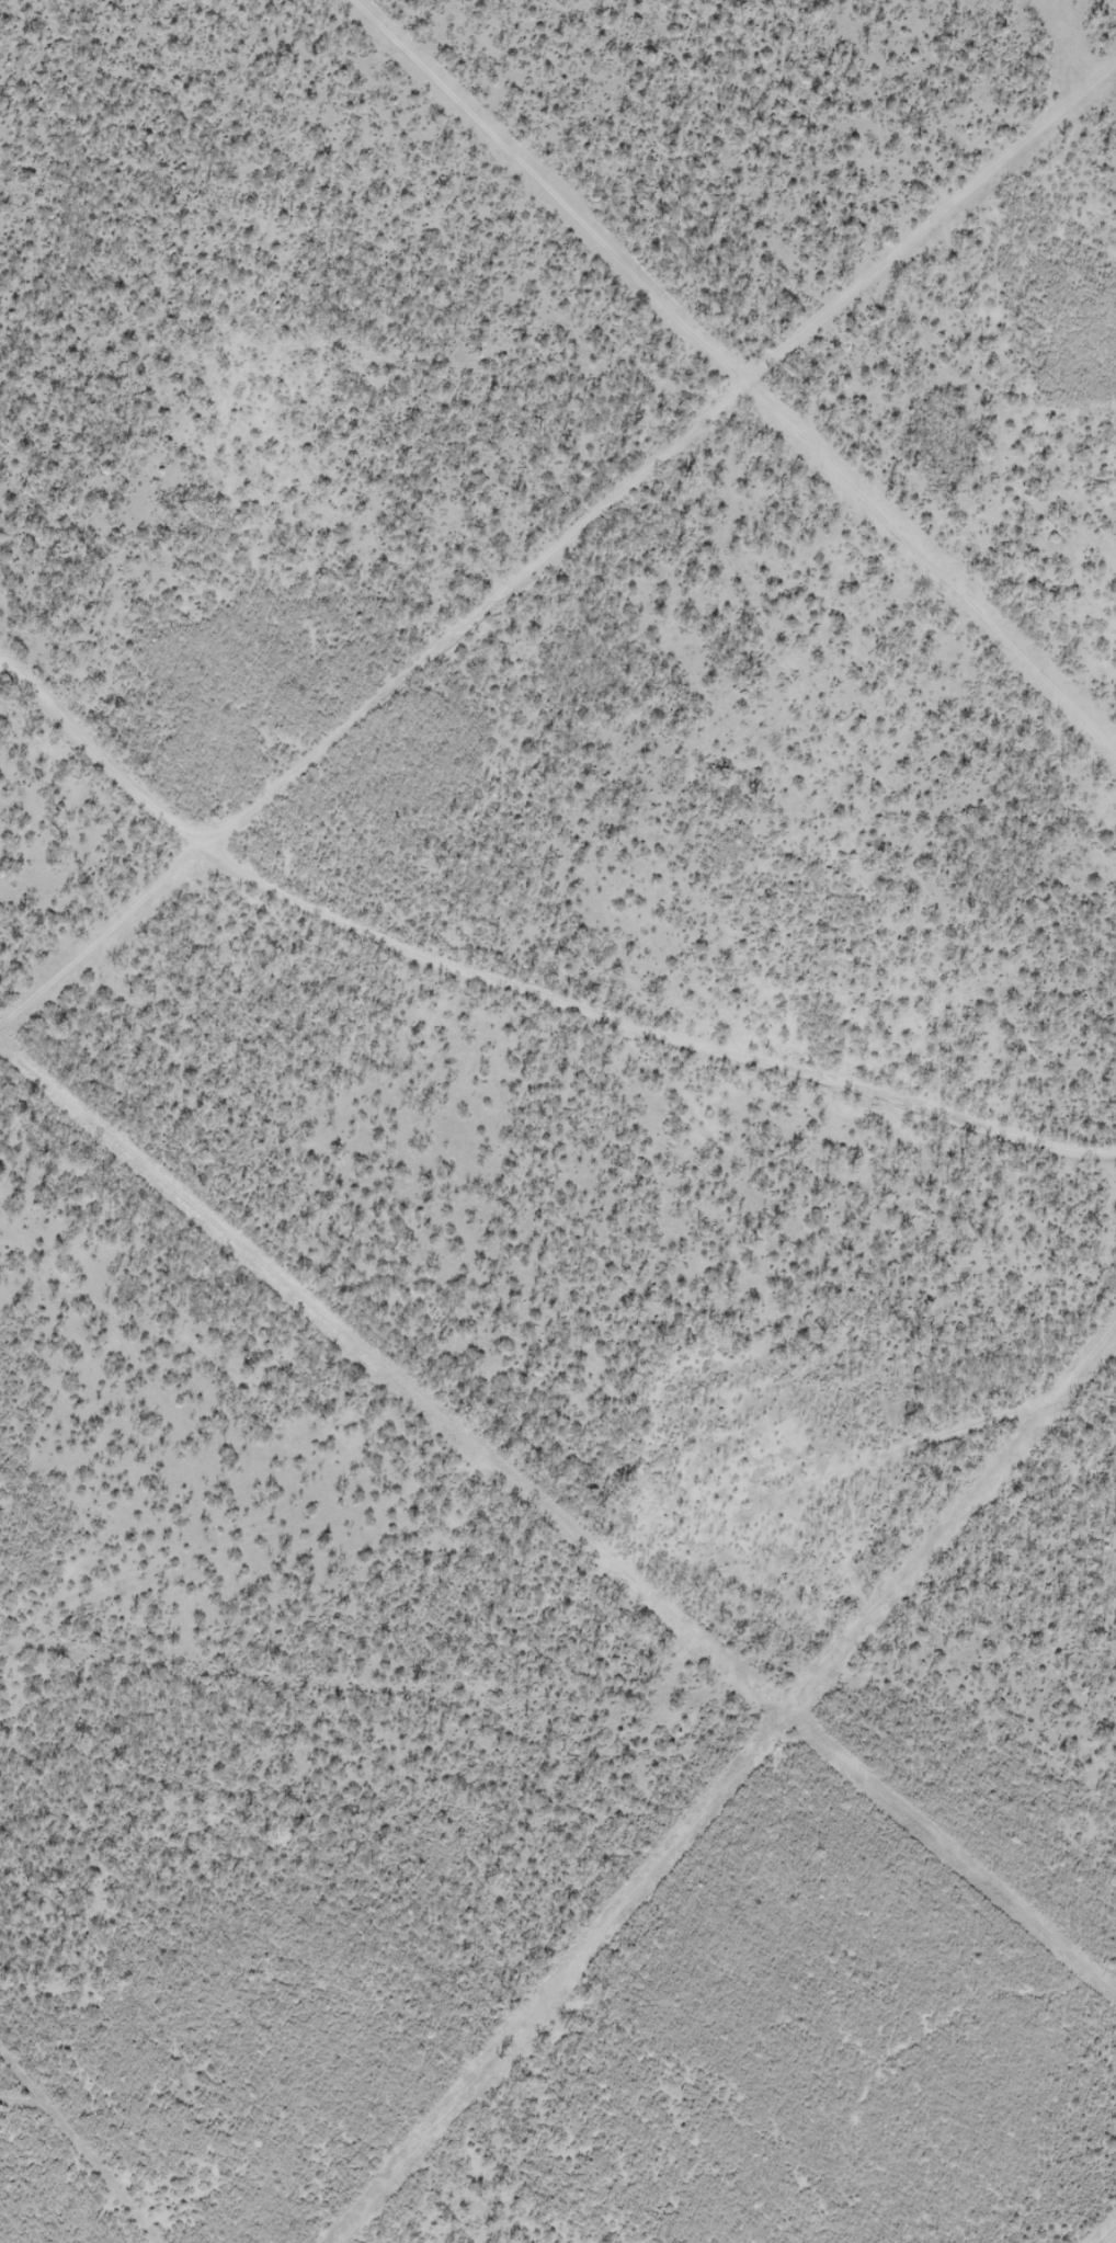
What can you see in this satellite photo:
road: (526, 999)

